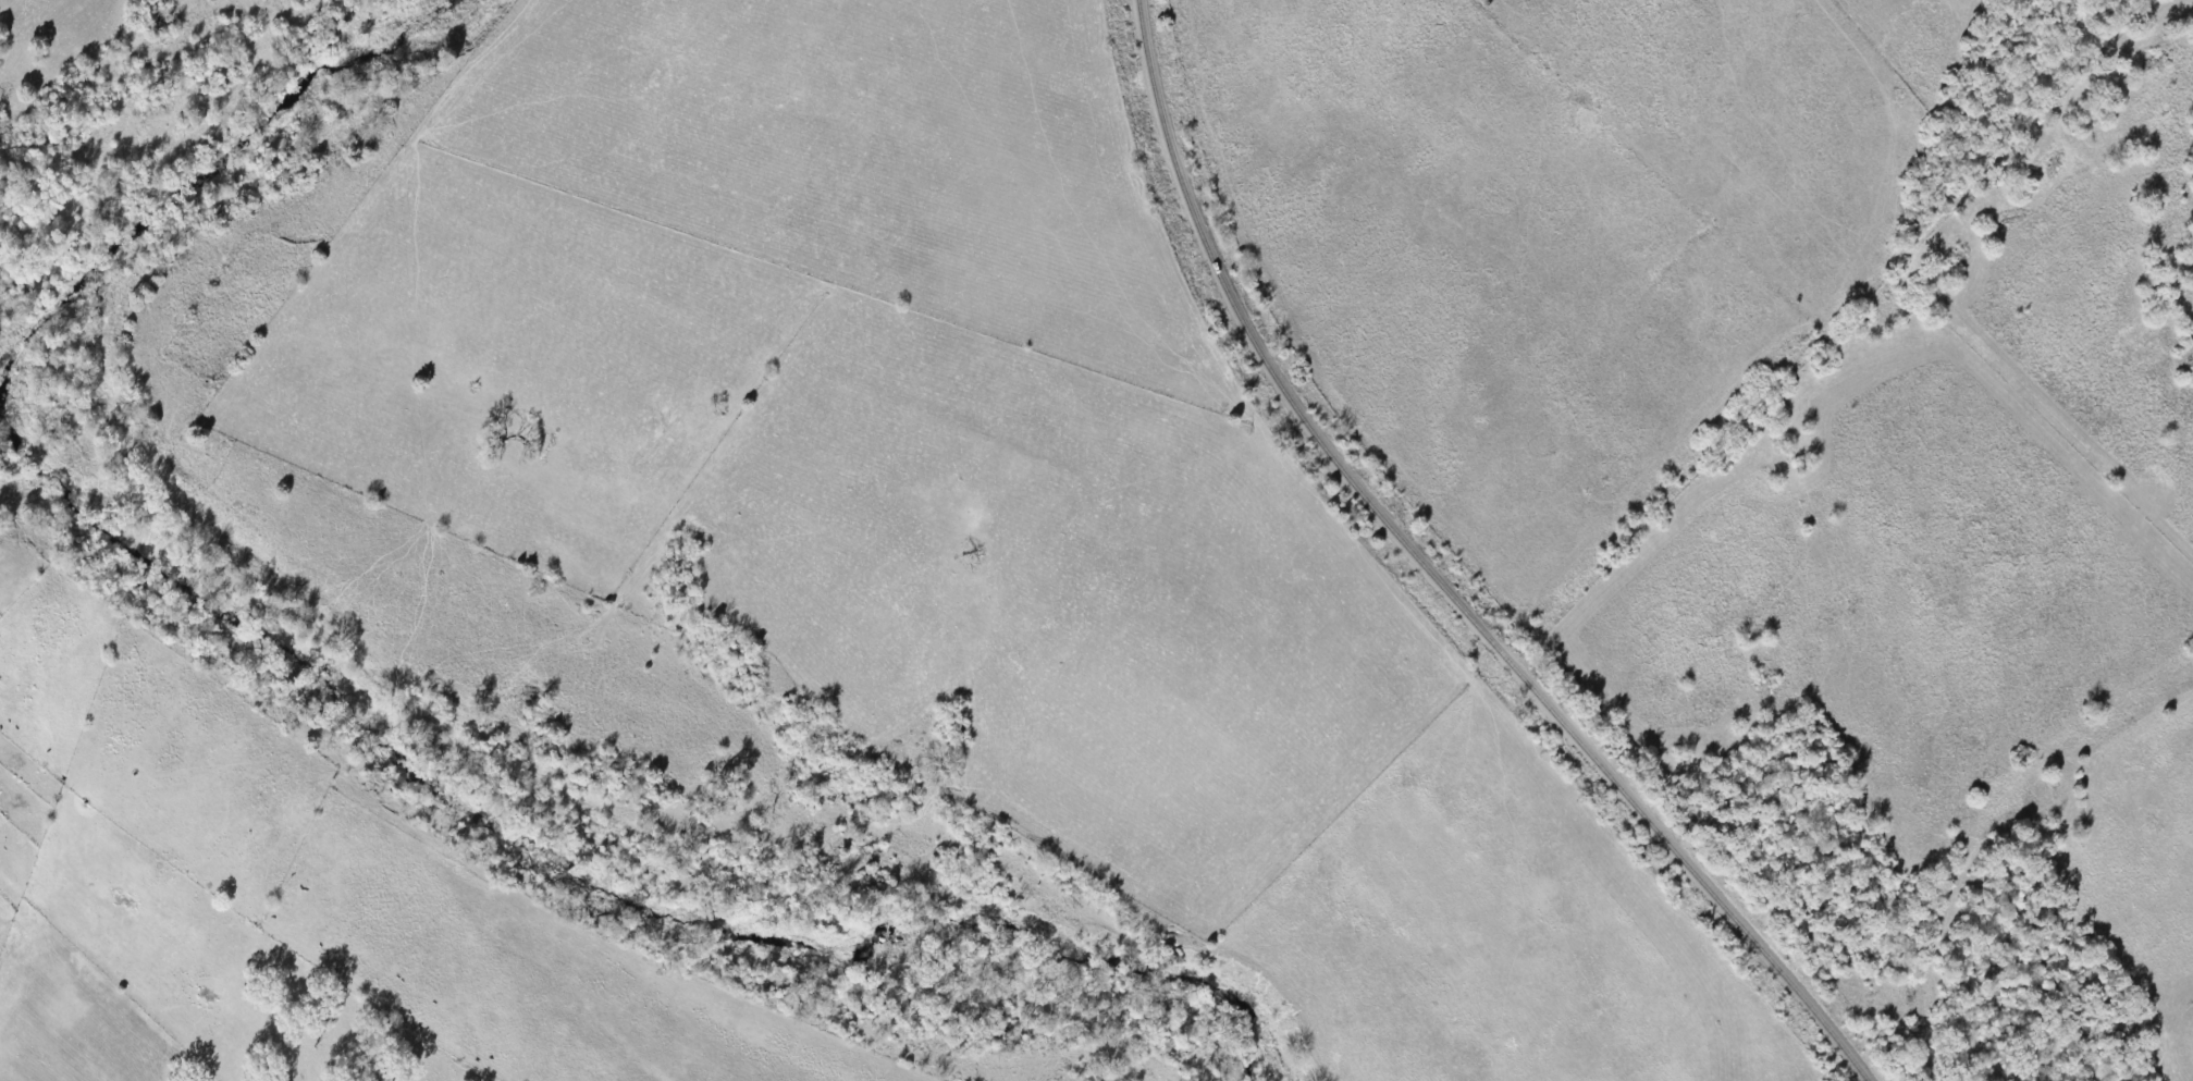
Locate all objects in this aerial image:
railway: (1438, 578)

